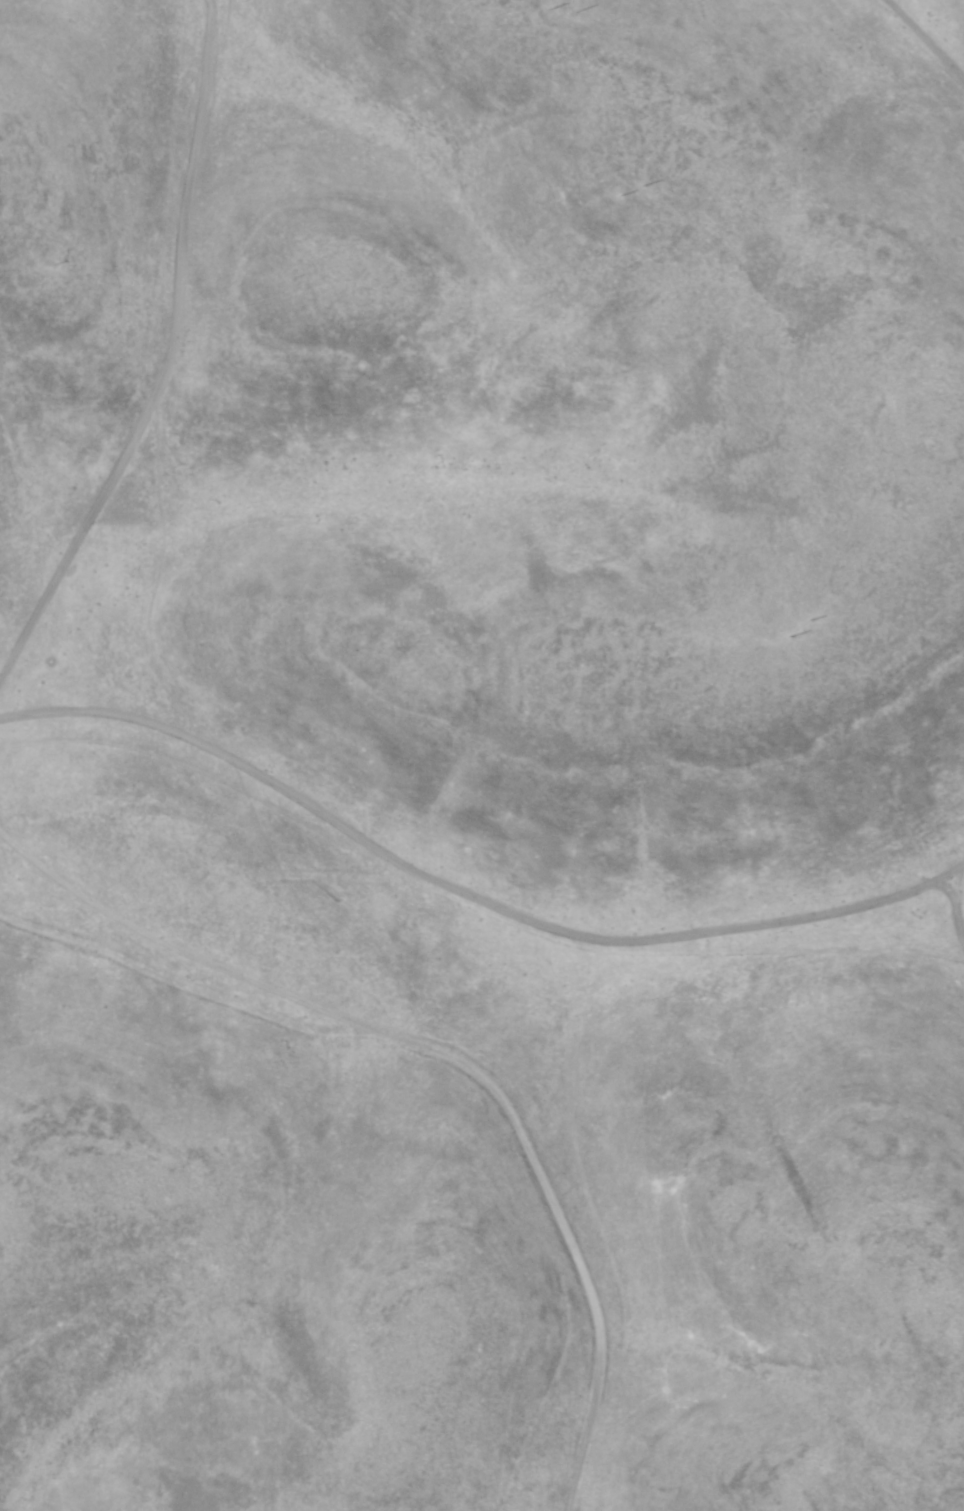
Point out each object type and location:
road: (900, 53)
road: (471, 910)

